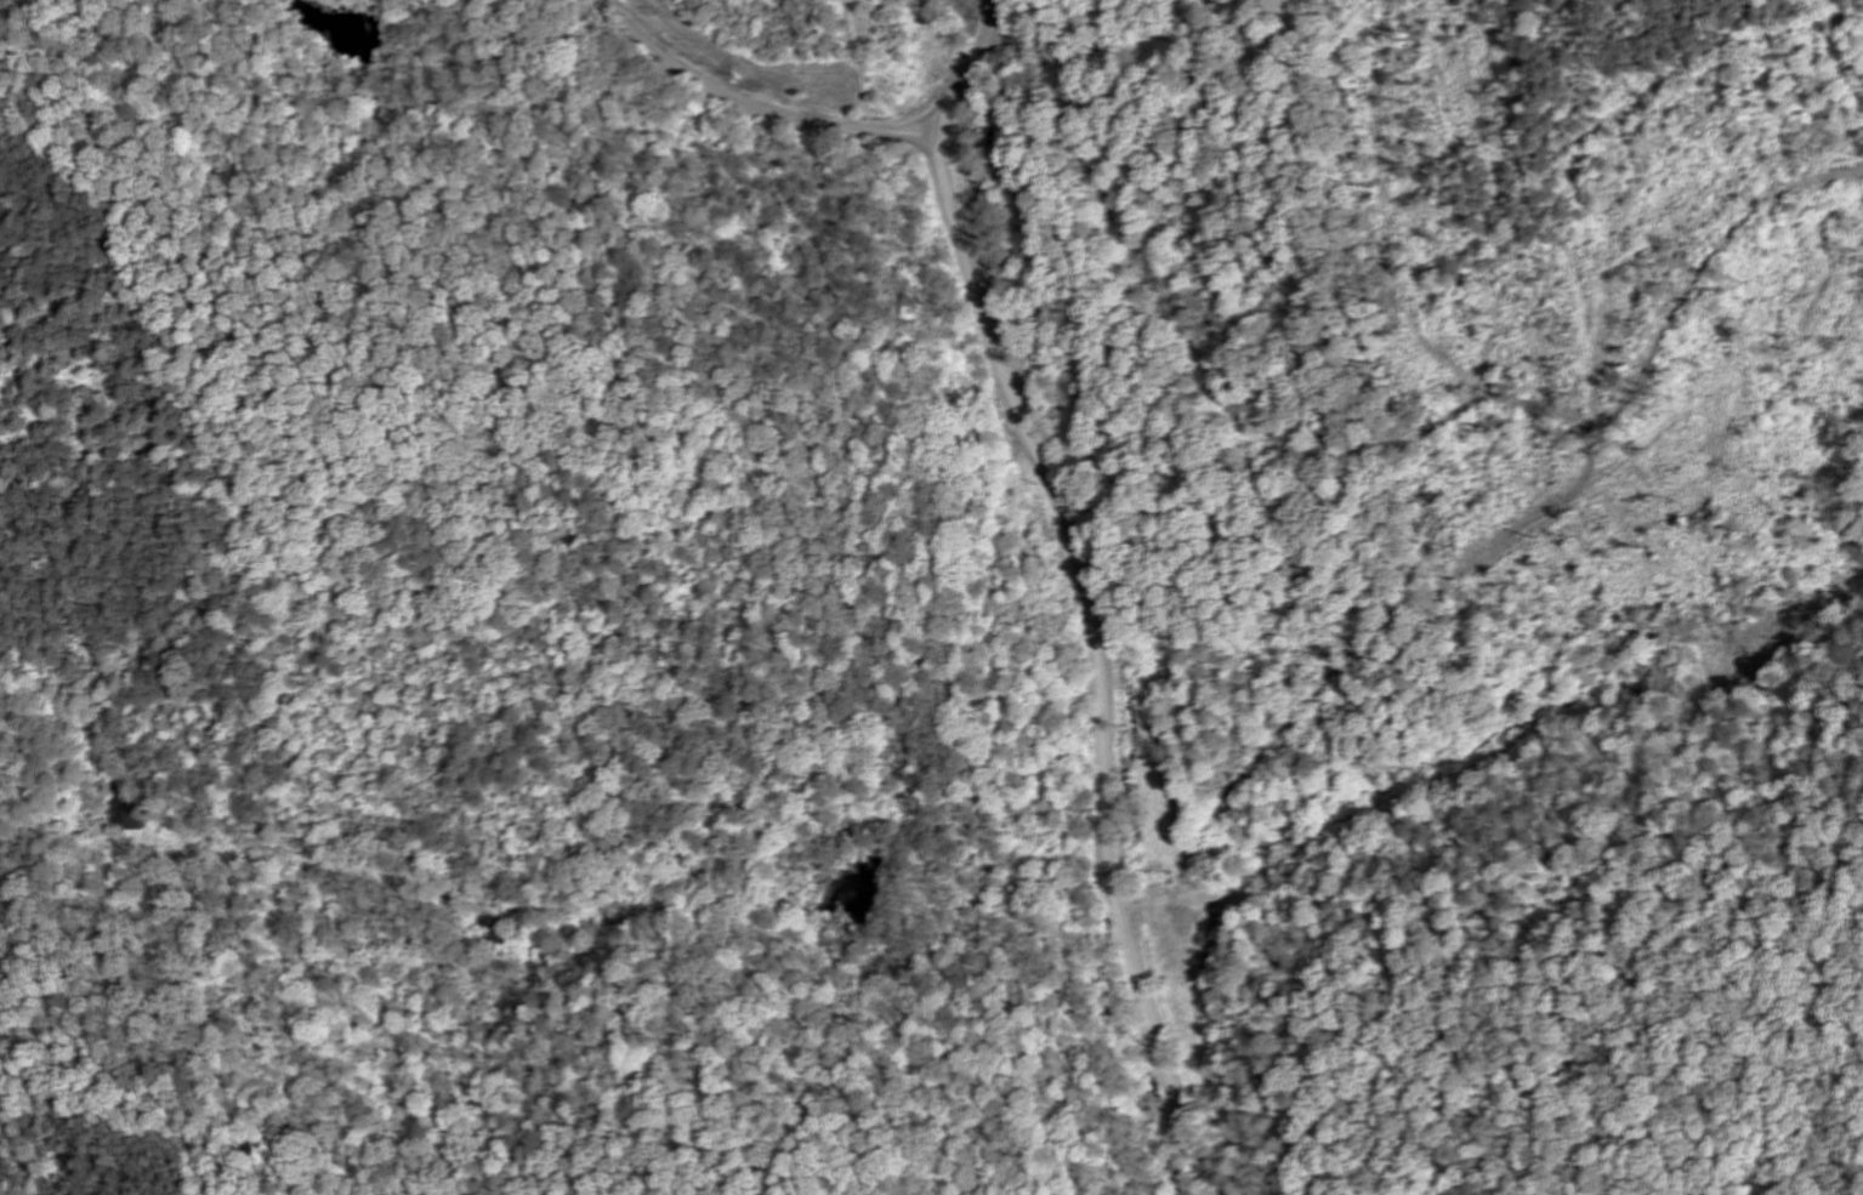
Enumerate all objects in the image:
road: (756, 110)
road: (1089, 587)

